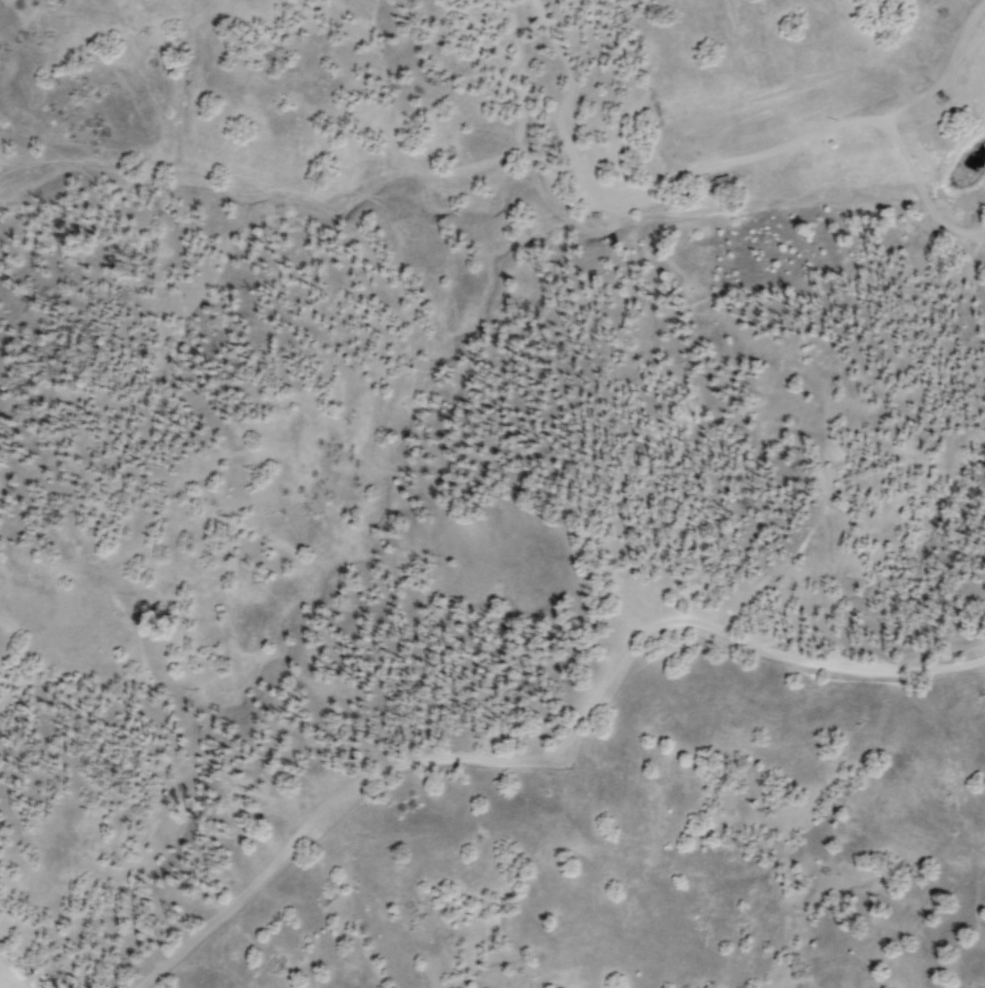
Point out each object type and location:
road: (12, 975)

